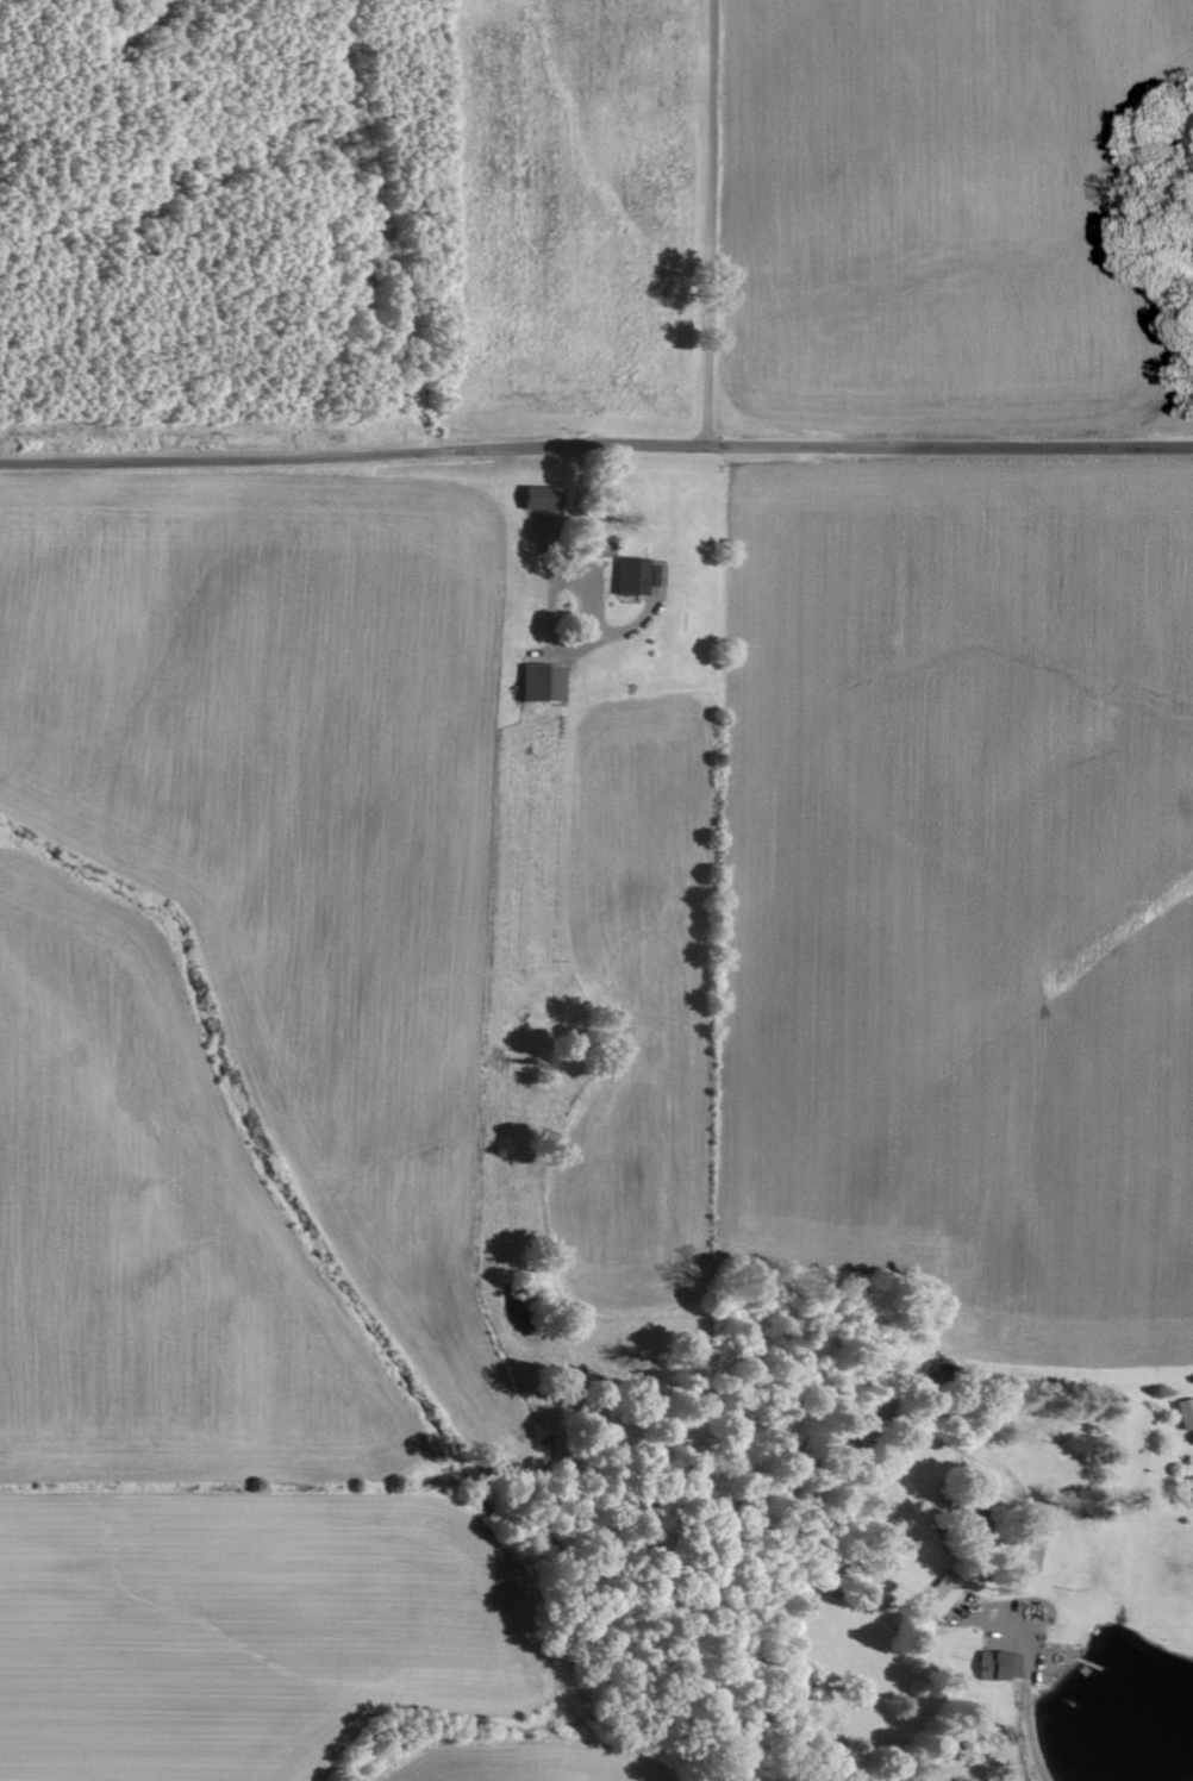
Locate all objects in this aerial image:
road: (710, 223)
road: (596, 446)
road: (588, 521)
building: (630, 576)
building: (544, 683)
building: (1186, 1414)
building: (941, 1596)
road: (1037, 1731)

